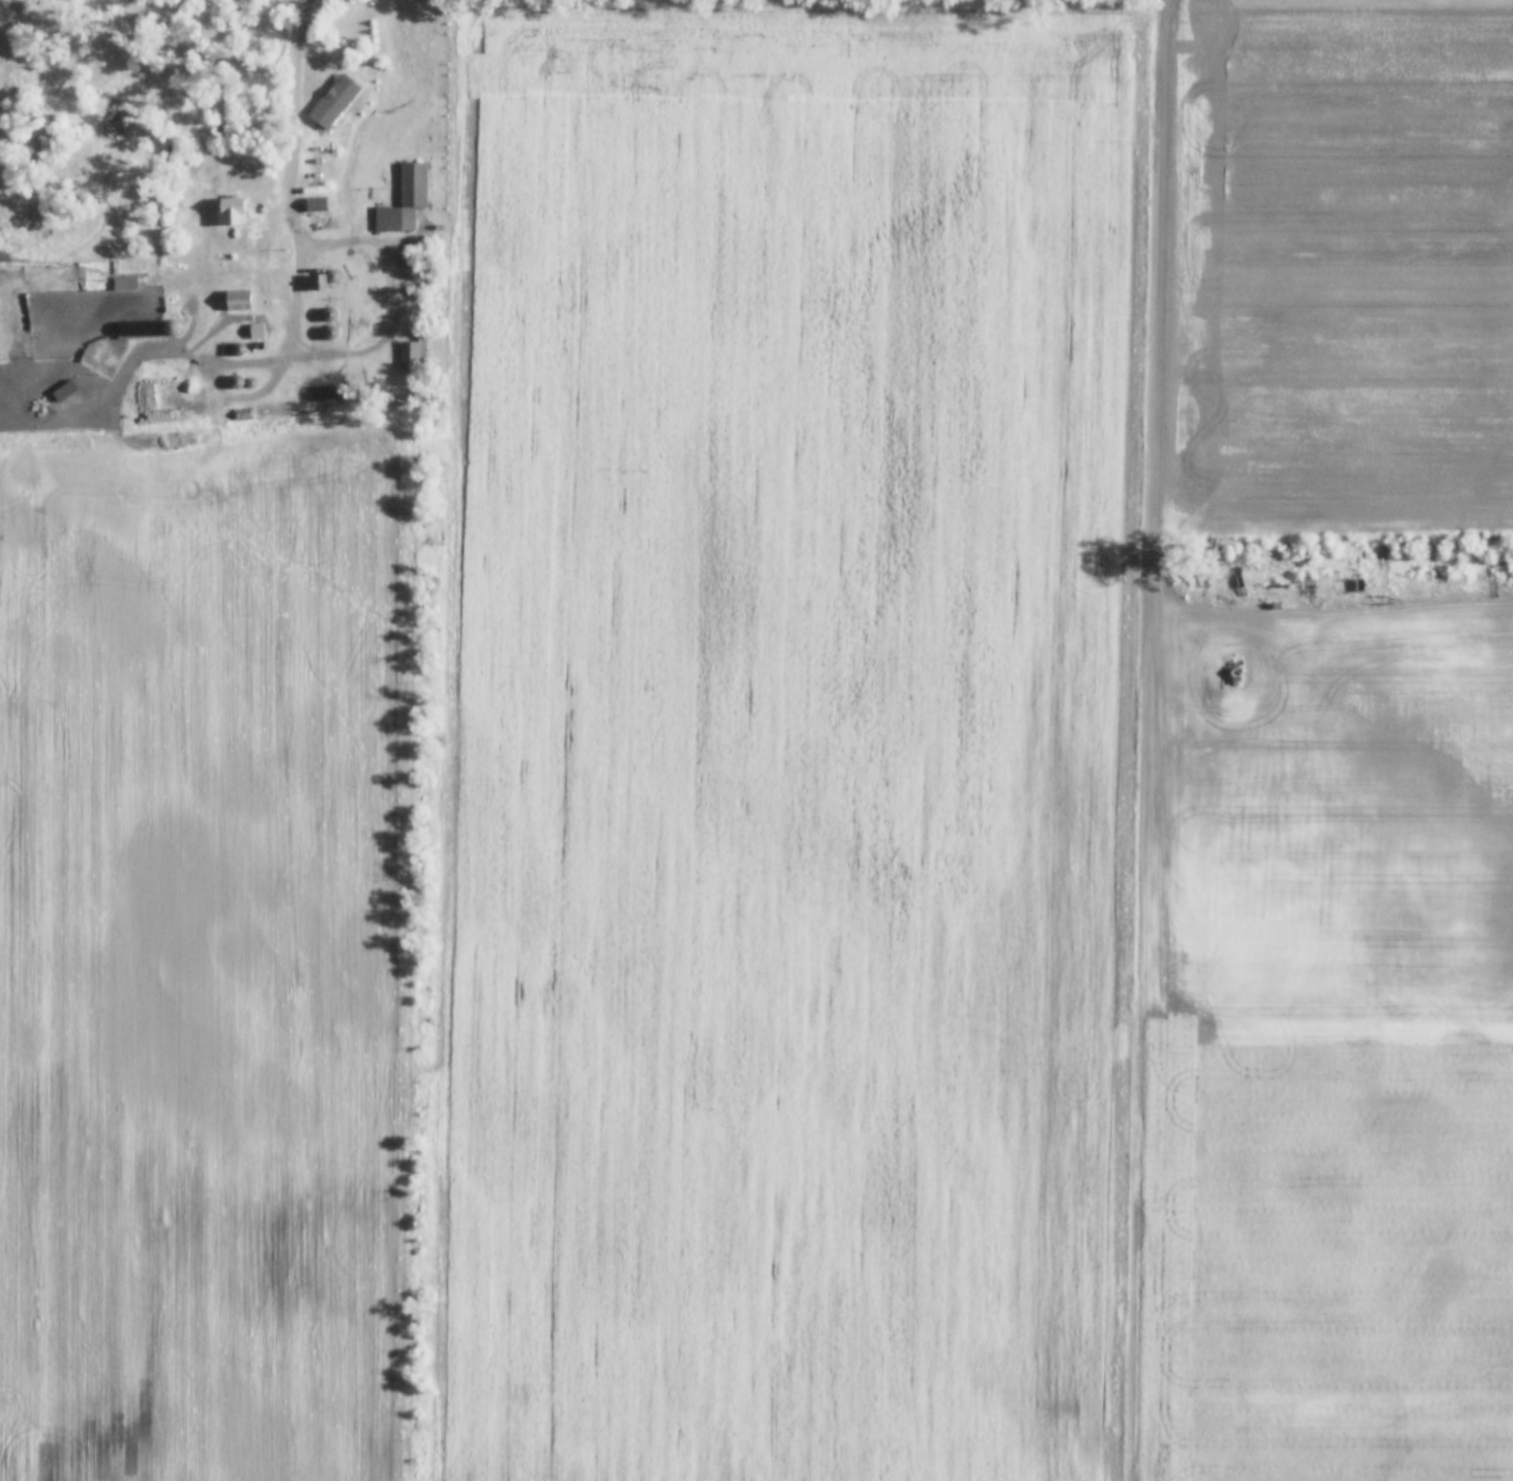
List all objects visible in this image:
building: (335, 101)
building: (403, 203)
building: (231, 212)
road: (301, 217)
road: (380, 242)
building: (125, 283)
building: (236, 305)
building: (322, 316)
building: (150, 329)
building: (413, 356)
building: (65, 391)

